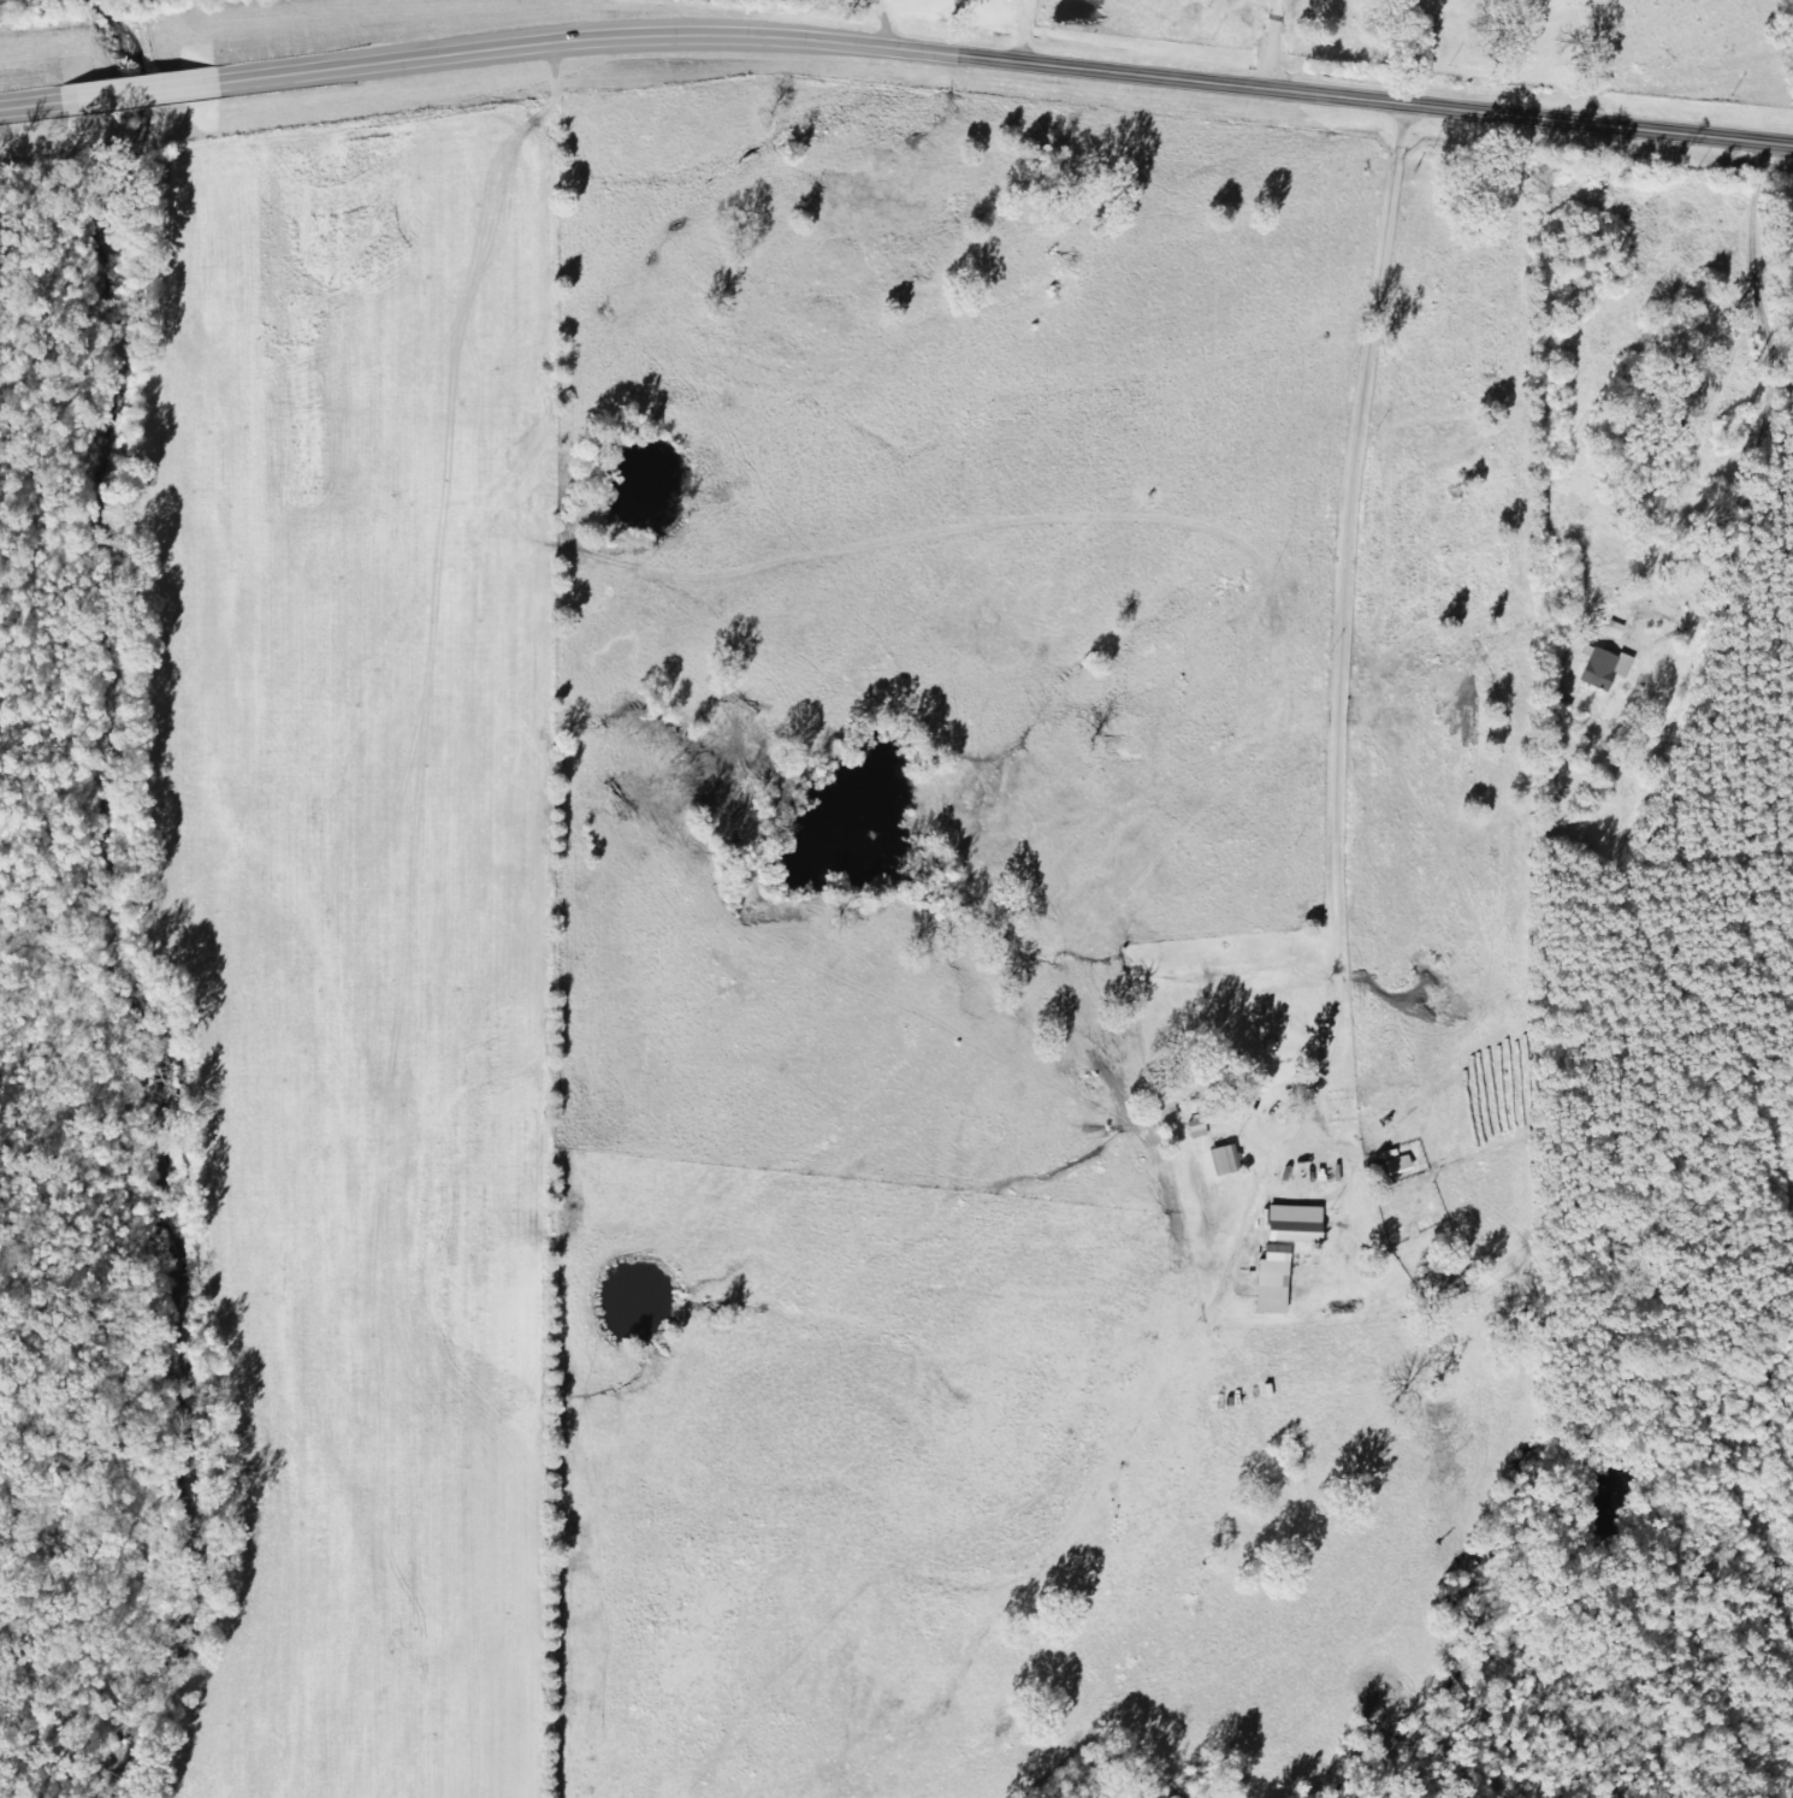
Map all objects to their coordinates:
road: (896, 47)
road: (1783, 581)
road: (1365, 619)
building: (1619, 631)
building: (1609, 669)
building: (1179, 1090)
building: (1229, 1160)
building: (1298, 1224)
building: (1277, 1281)

